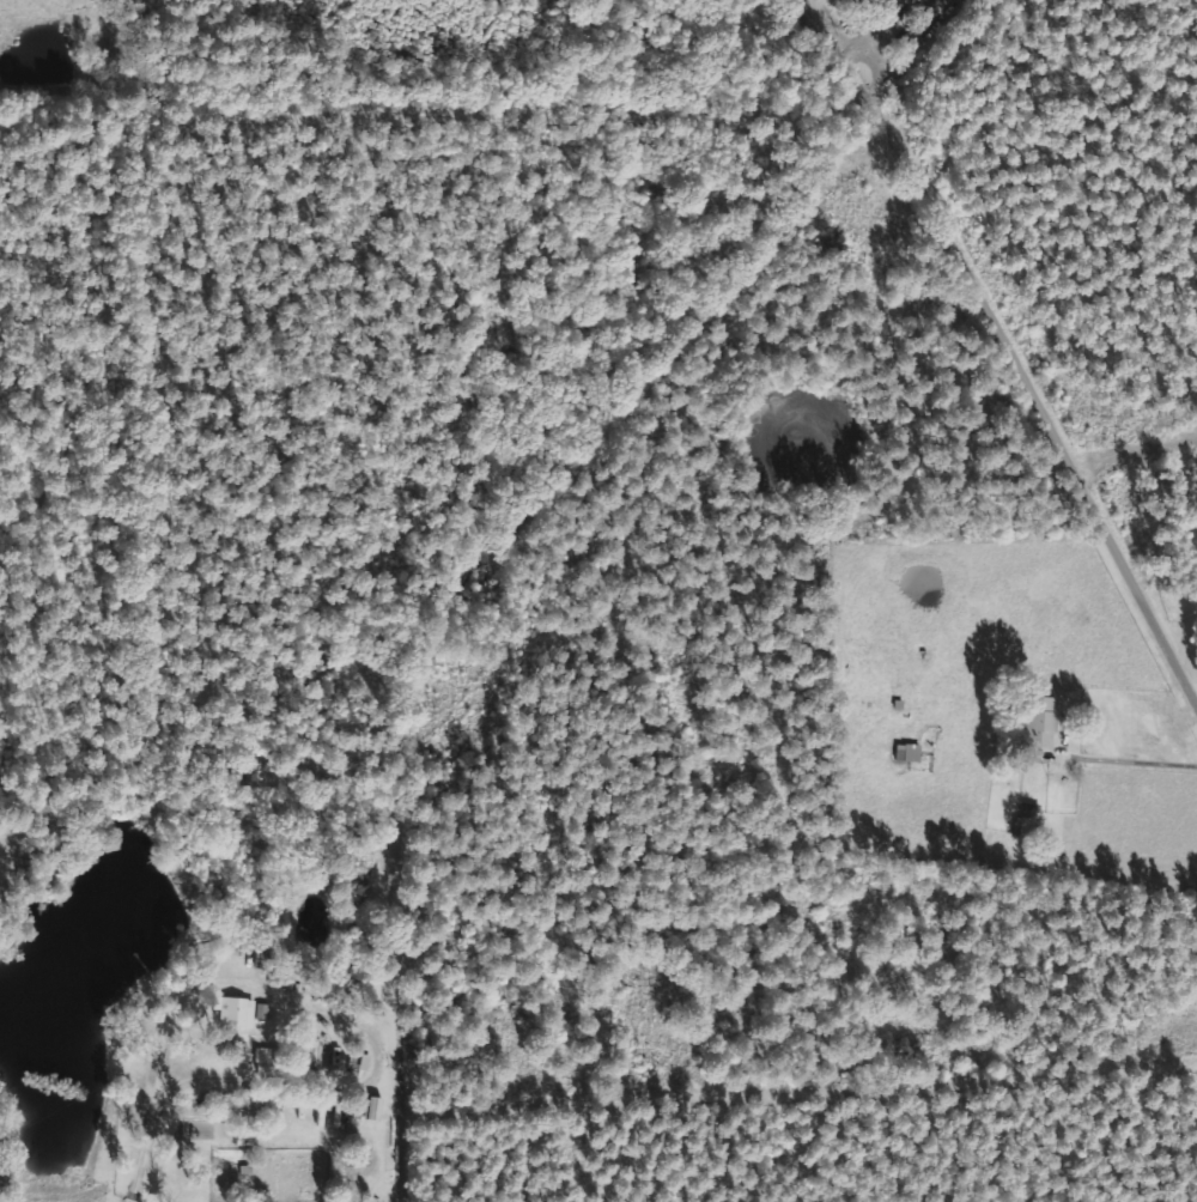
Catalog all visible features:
road: (1009, 338)
building: (1035, 722)
building: (231, 1012)

